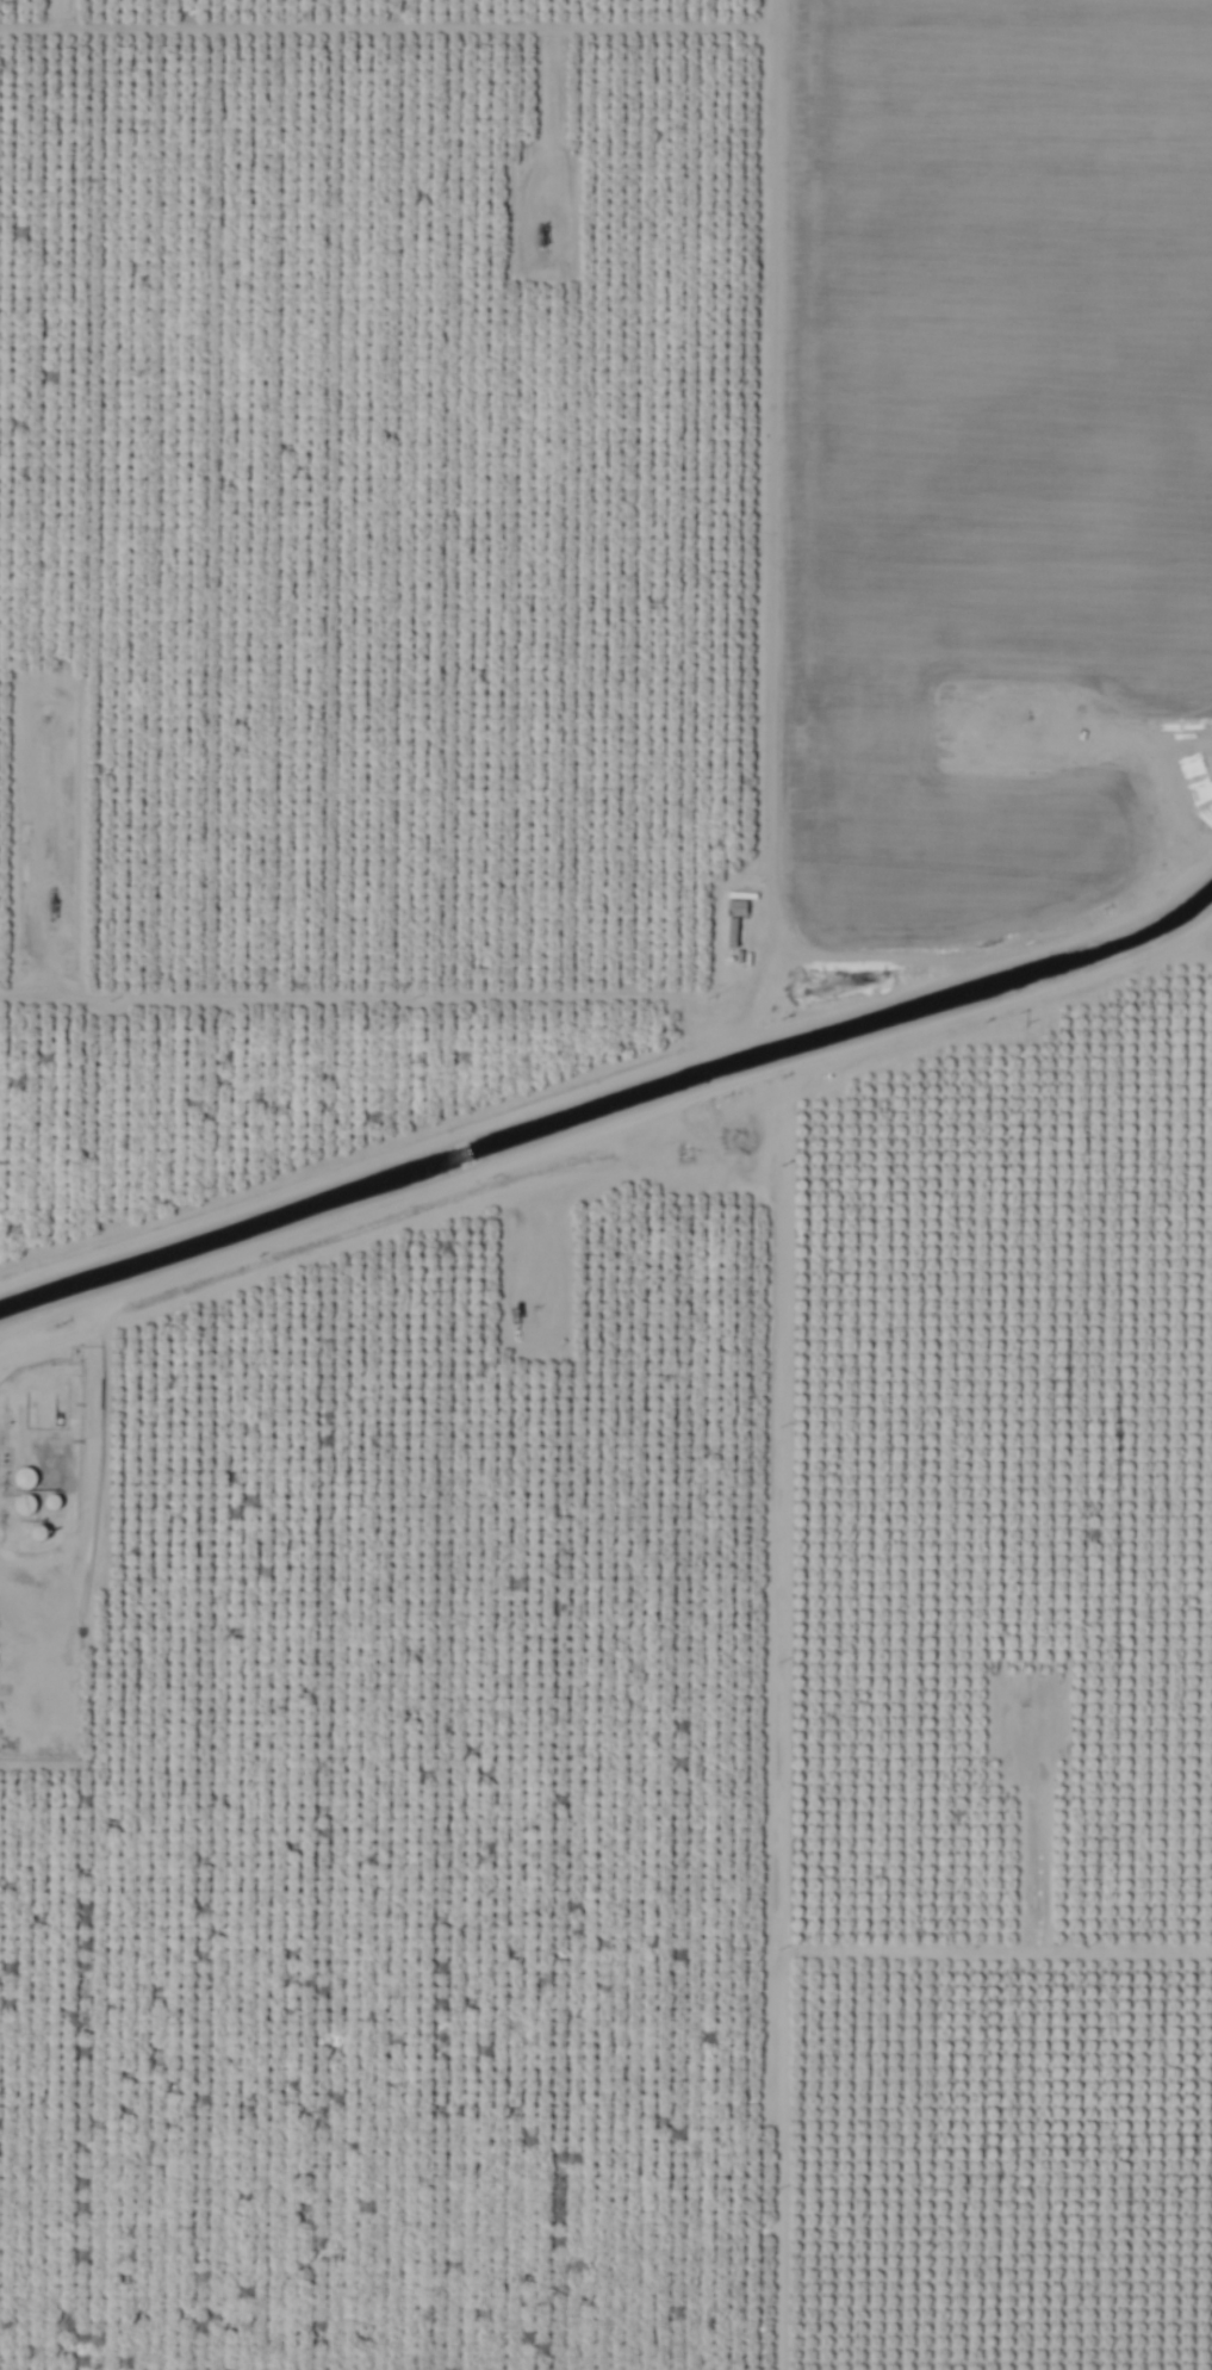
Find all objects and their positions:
road: (788, 508)

